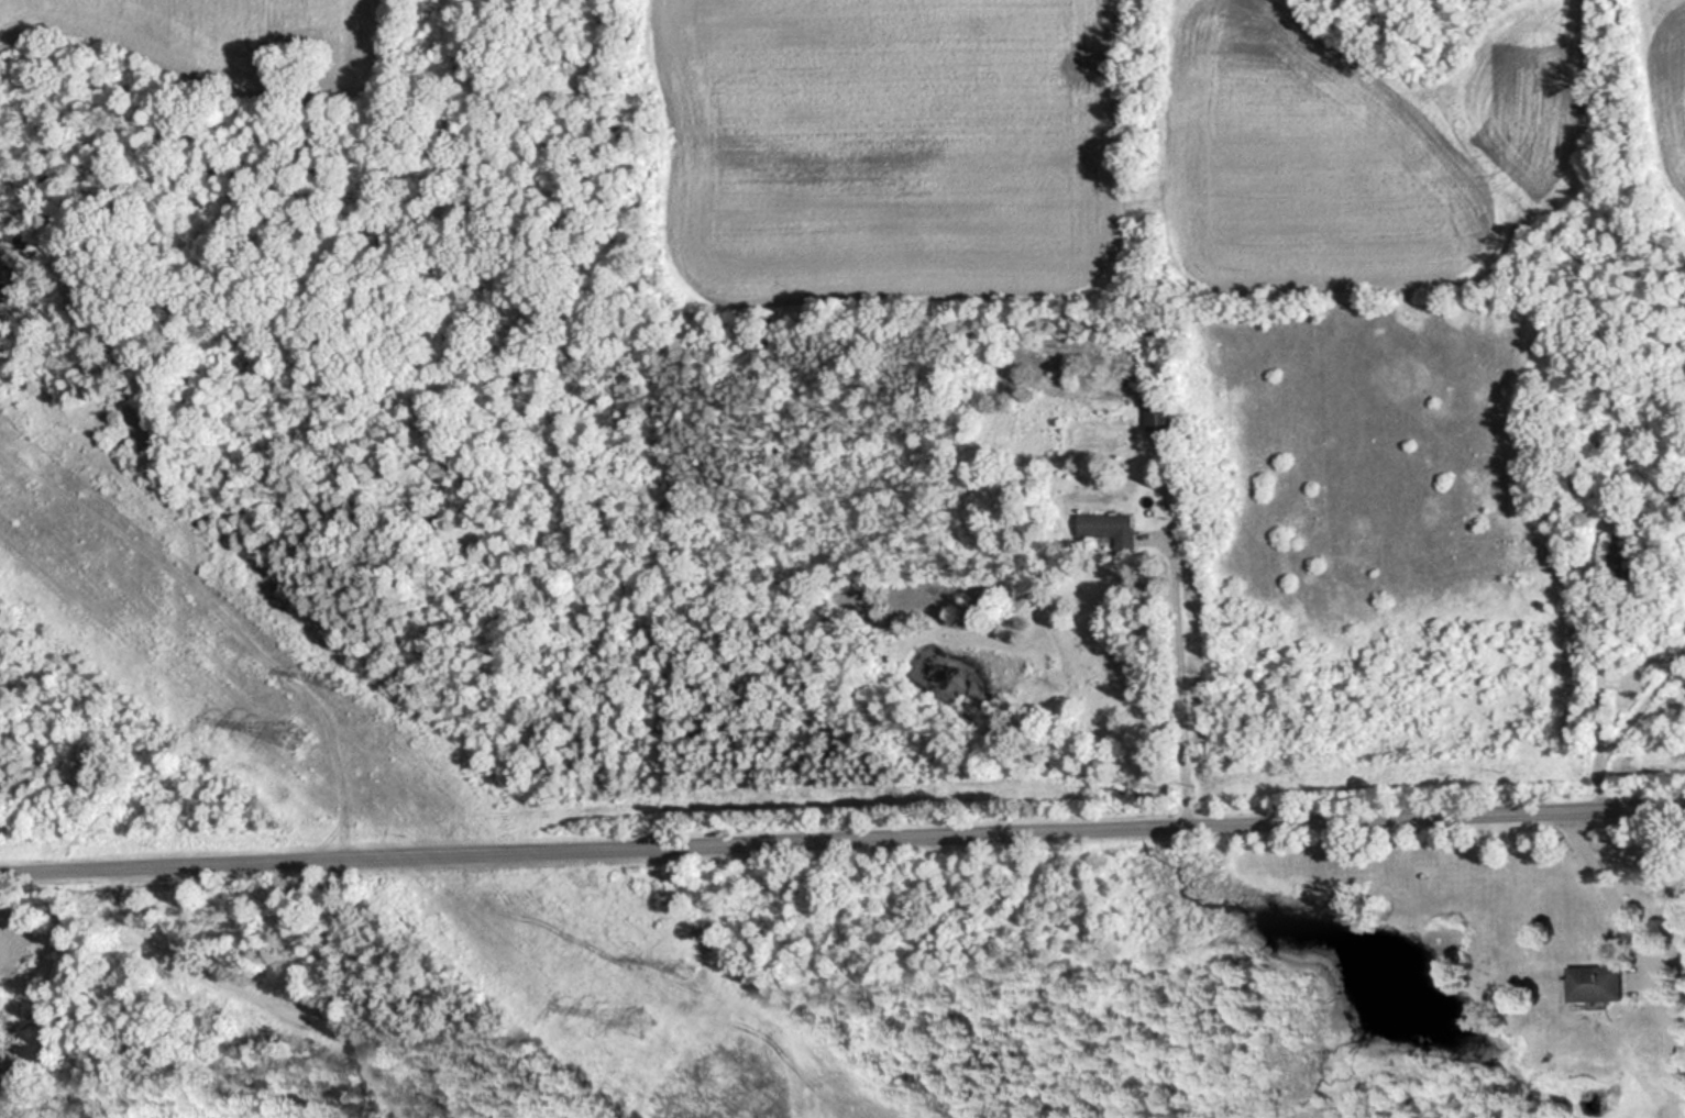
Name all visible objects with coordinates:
building: (1157, 413)
building: (1109, 527)
building: (1623, 554)
road: (1596, 651)
road: (1182, 677)
power tower: (333, 680)
road: (1631, 724)
power tower: (290, 731)
building: (1556, 759)
road: (842, 834)
road: (1644, 952)
power tower: (684, 967)
building: (1597, 981)
power tower: (640, 1018)

